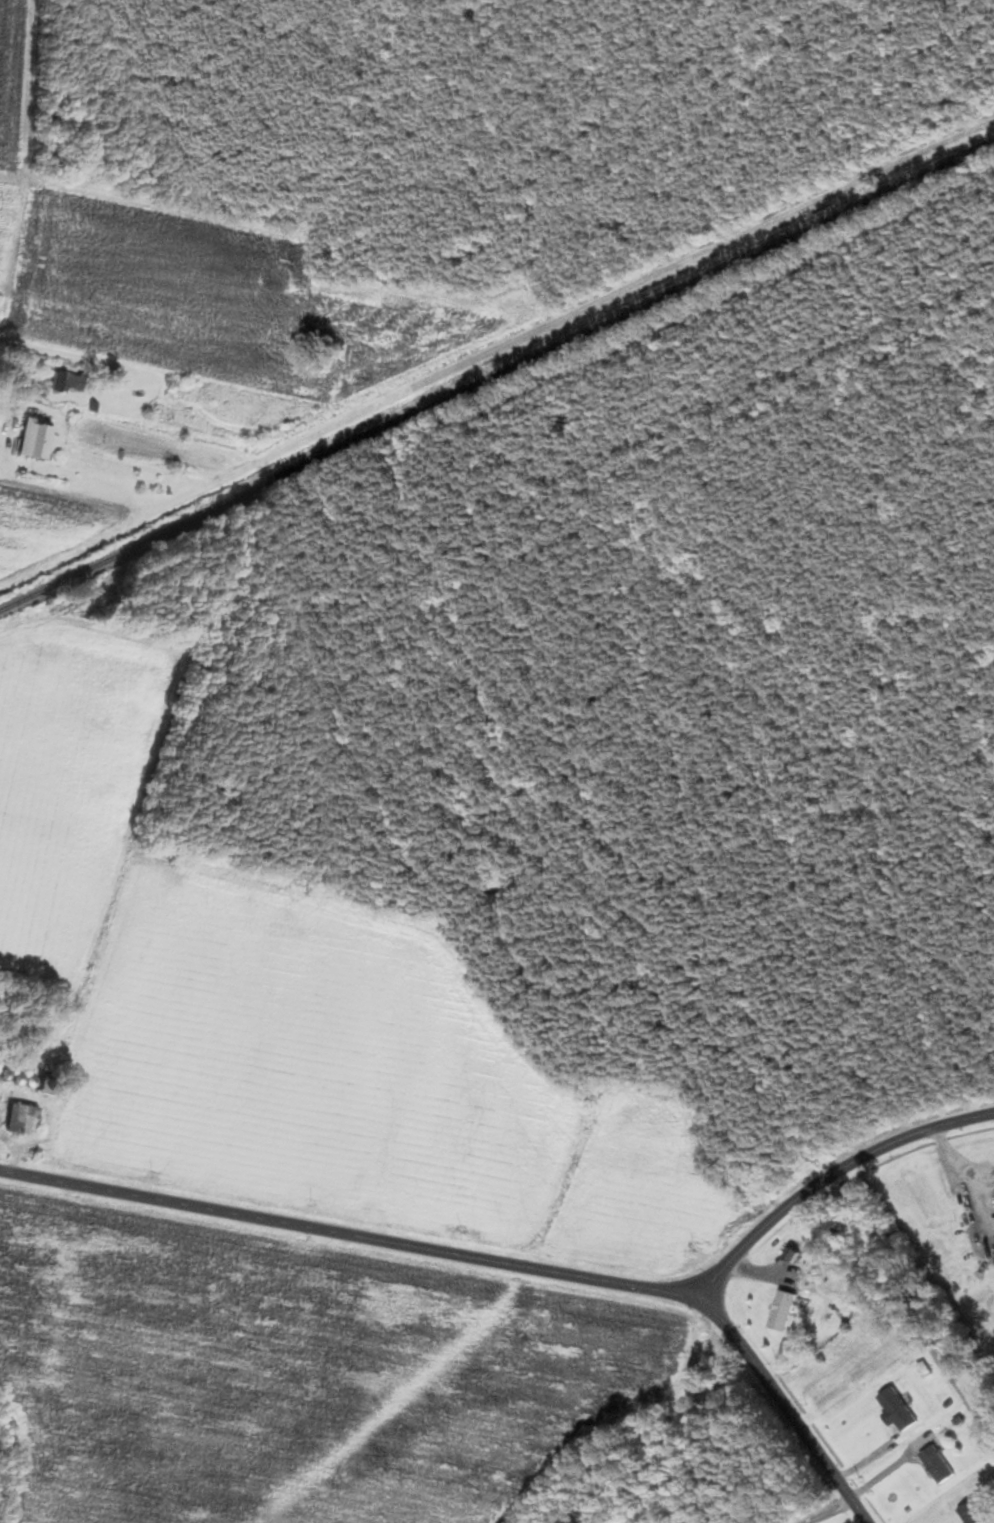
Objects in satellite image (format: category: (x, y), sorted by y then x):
railway: (497, 376)
road: (15, 378)
building: (31, 439)
building: (55, 1088)
building: (18, 1119)
road: (829, 1178)
road: (488, 1259)
building: (781, 1312)
building: (898, 1410)
building: (937, 1465)
building: (974, 1513)

